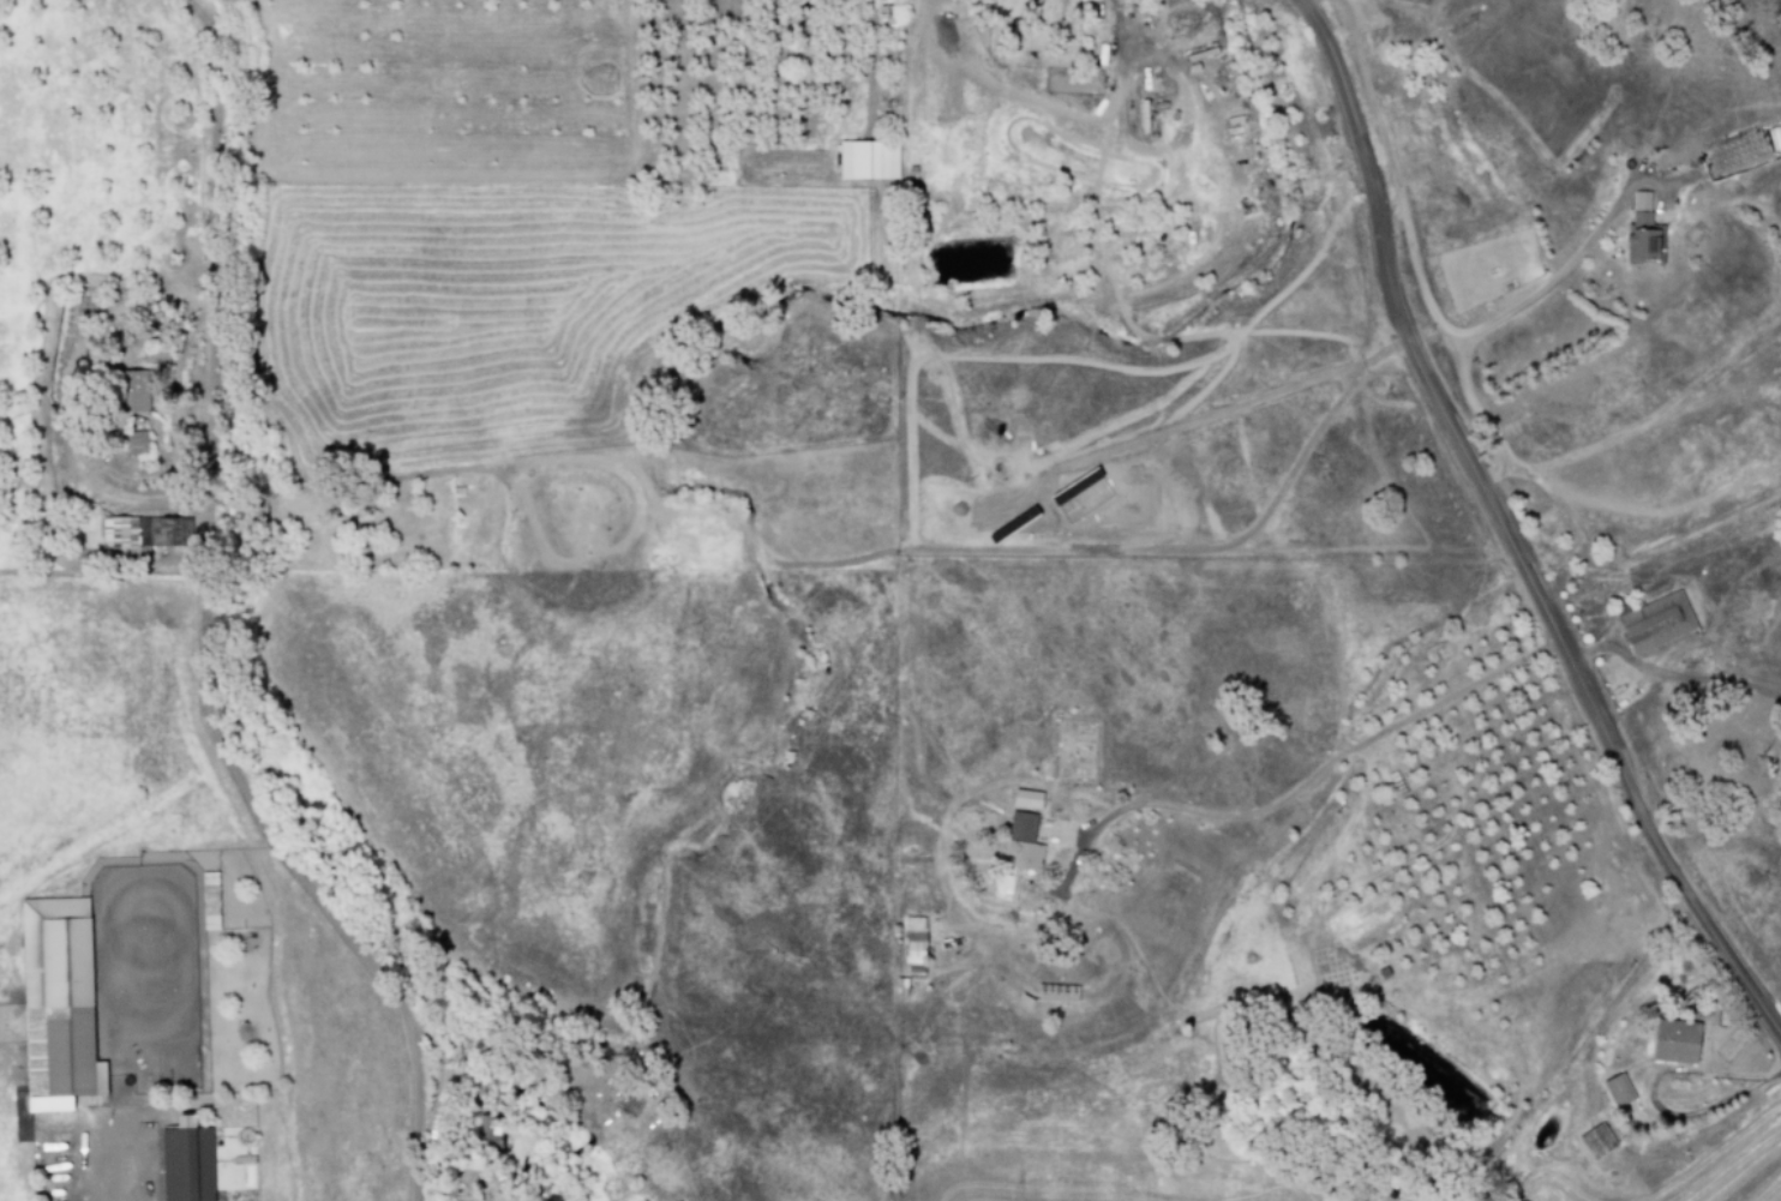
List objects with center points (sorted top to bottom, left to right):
building: (865, 161)
building: (1641, 233)
road: (1536, 293)
building: (127, 390)
building: (132, 443)
building: (138, 532)
road: (1504, 532)
road: (200, 583)
building: (1653, 621)
building: (1779, 799)
building: (1015, 854)
road: (1065, 881)
building: (206, 901)
building: (912, 941)
building: (912, 973)
building: (898, 987)
building: (1054, 993)
building: (54, 1004)
building: (1672, 1044)
building: (1615, 1091)
building: (485, 1135)
building: (1595, 1141)
road: (414, 1155)
building: (184, 1161)
road: (106, 1176)

